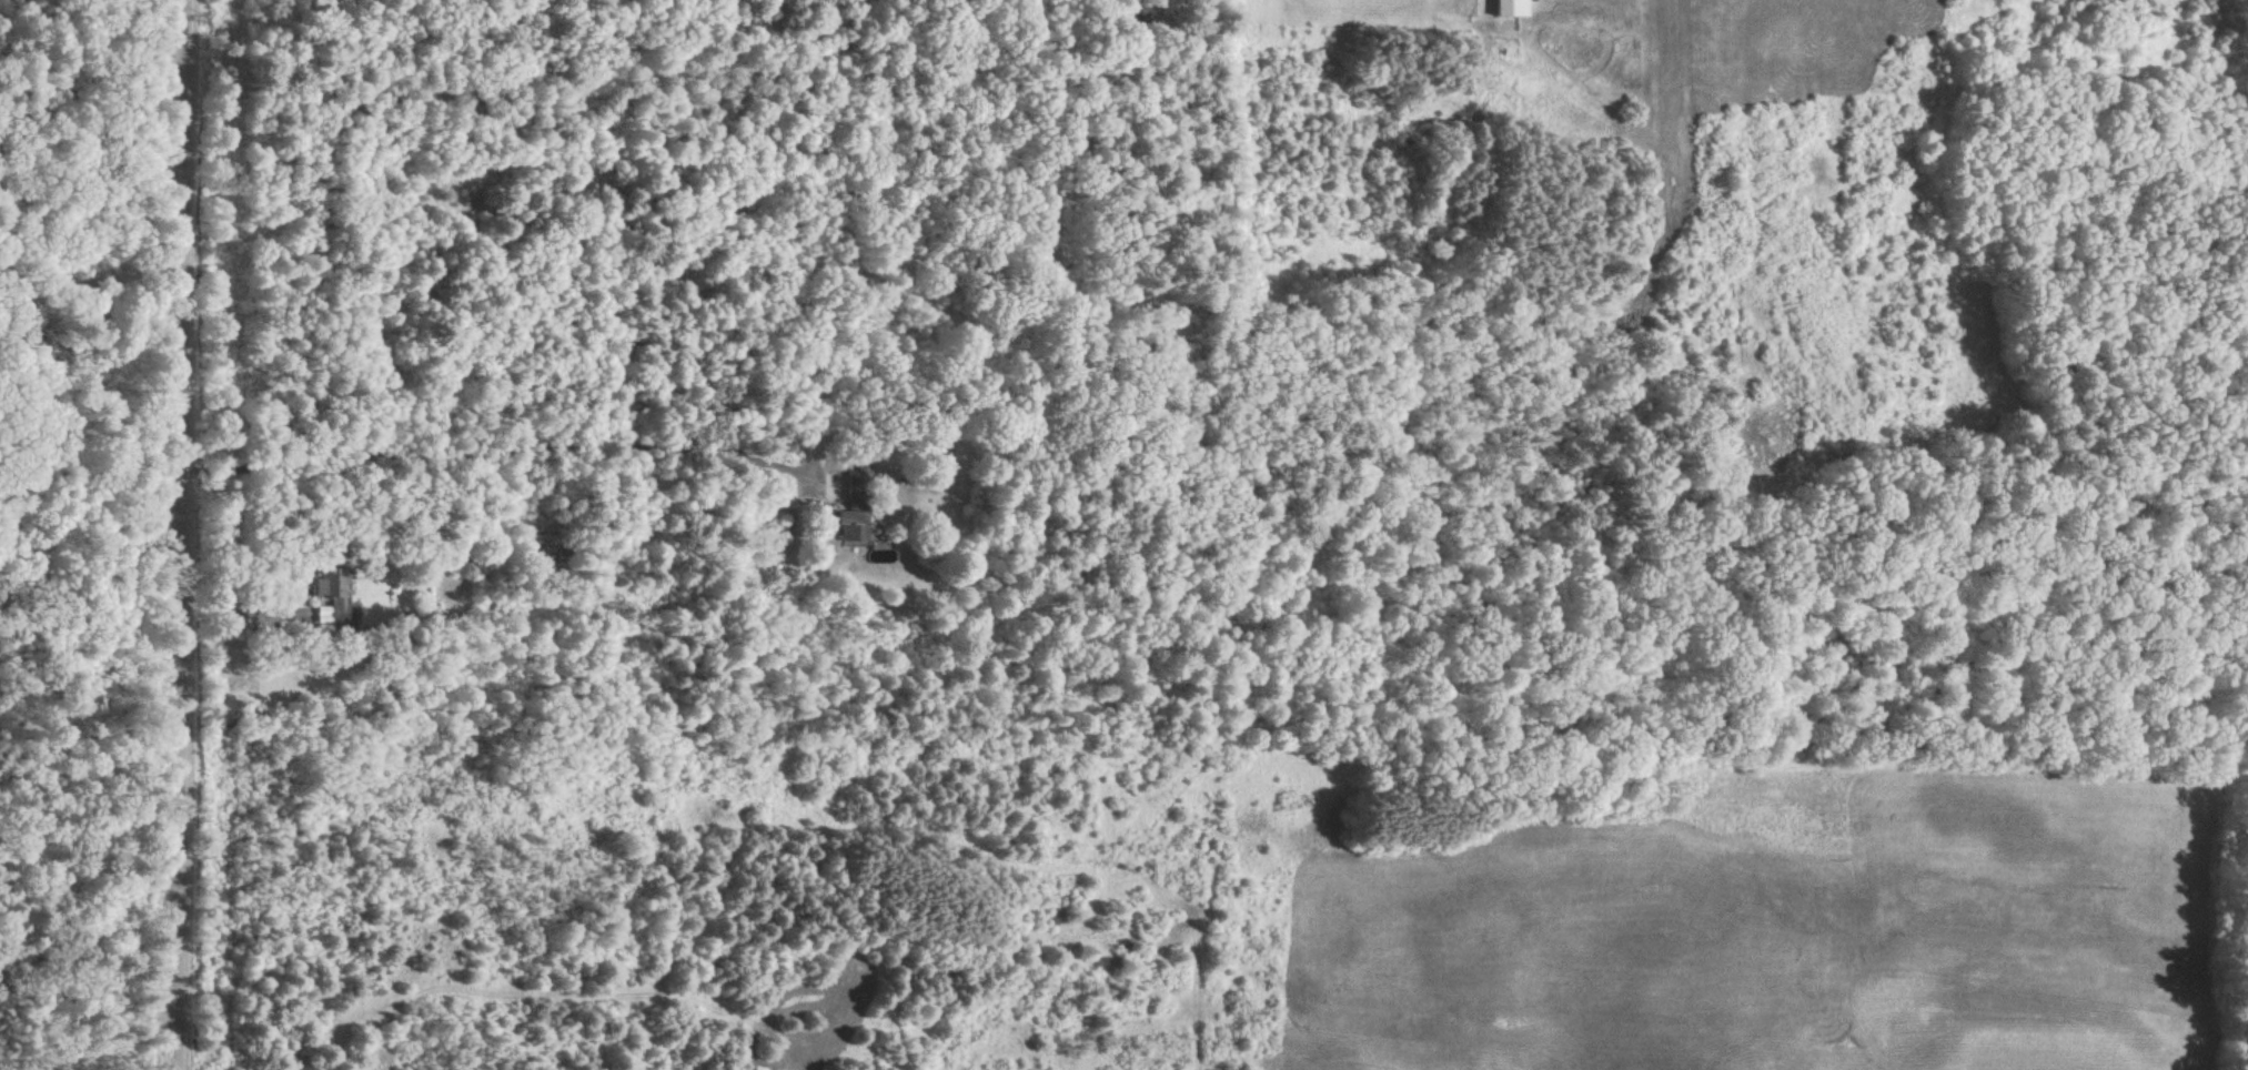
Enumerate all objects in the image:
building: (1513, 10)
road: (94, 304)
road: (495, 452)
building: (855, 513)
road: (189, 535)
building: (335, 599)
road: (251, 609)

